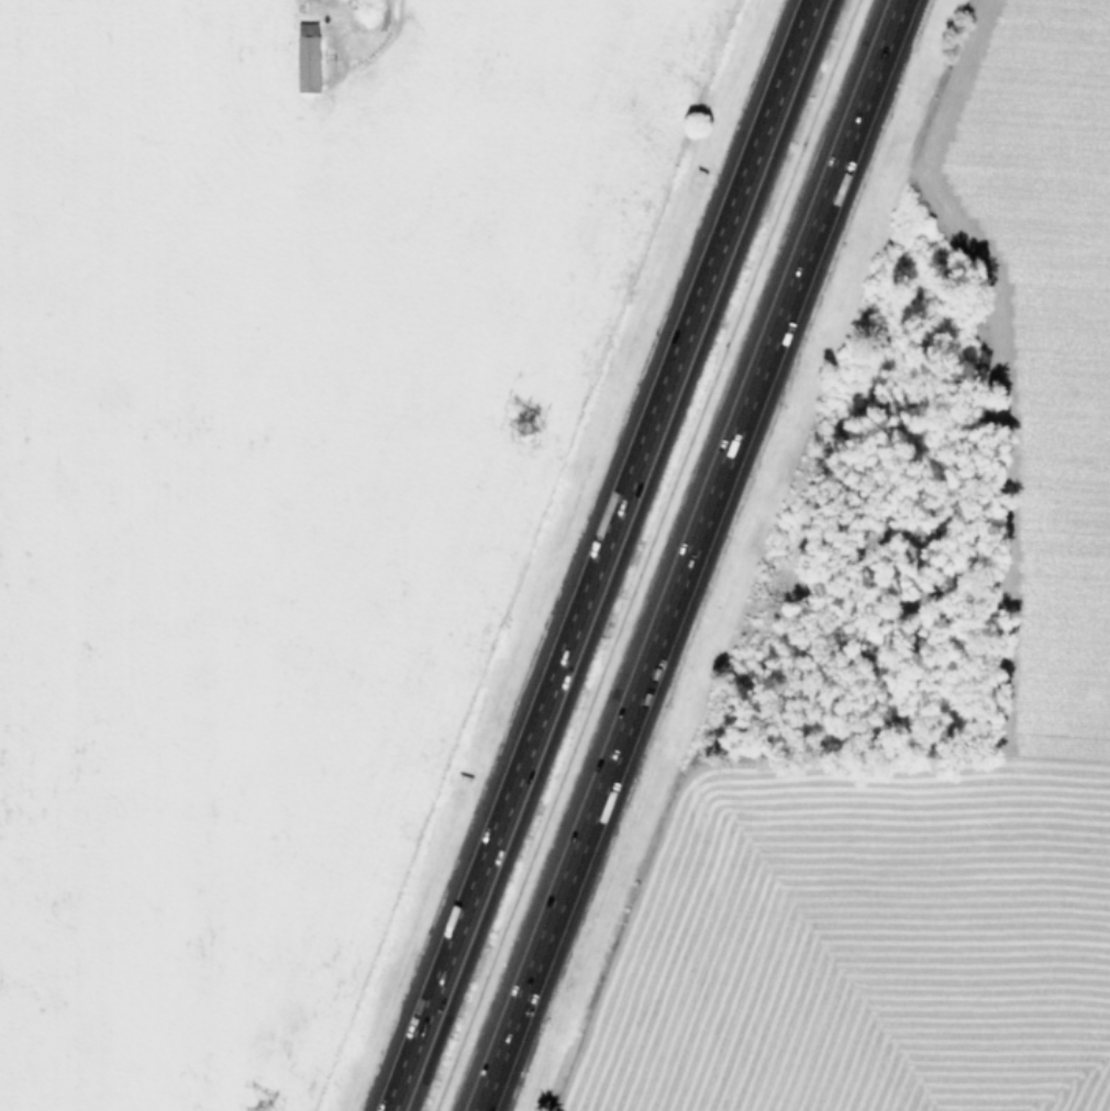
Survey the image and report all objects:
building: (307, 56)
power tower: (521, 425)
crop: (248, 479)
road: (599, 555)
road: (687, 555)
crop: (920, 667)

